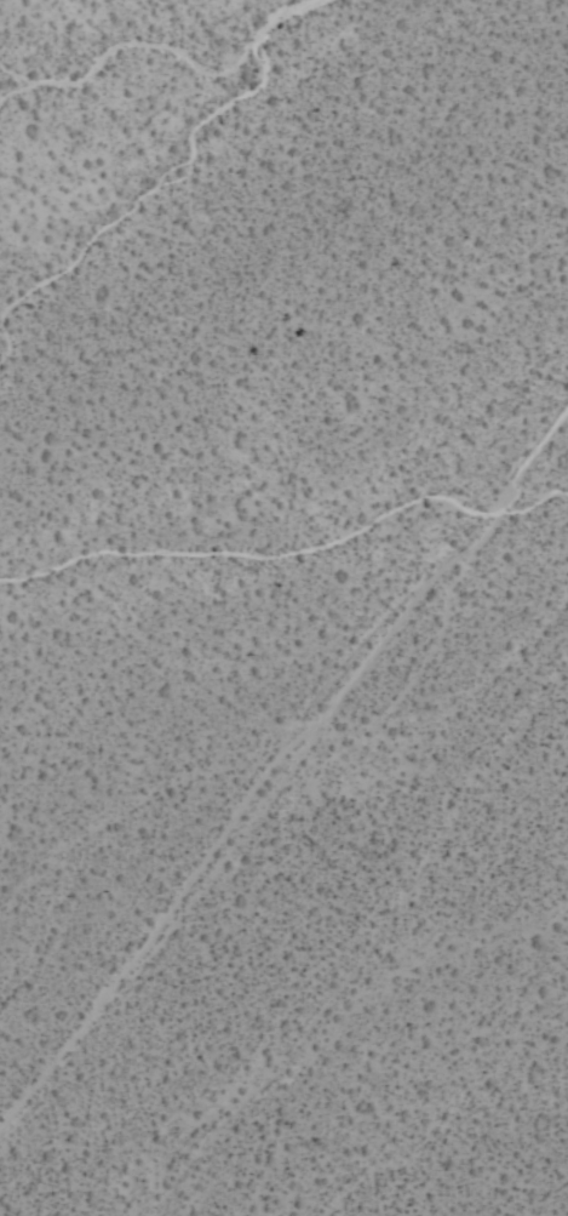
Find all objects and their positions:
crop: (283, 607)

